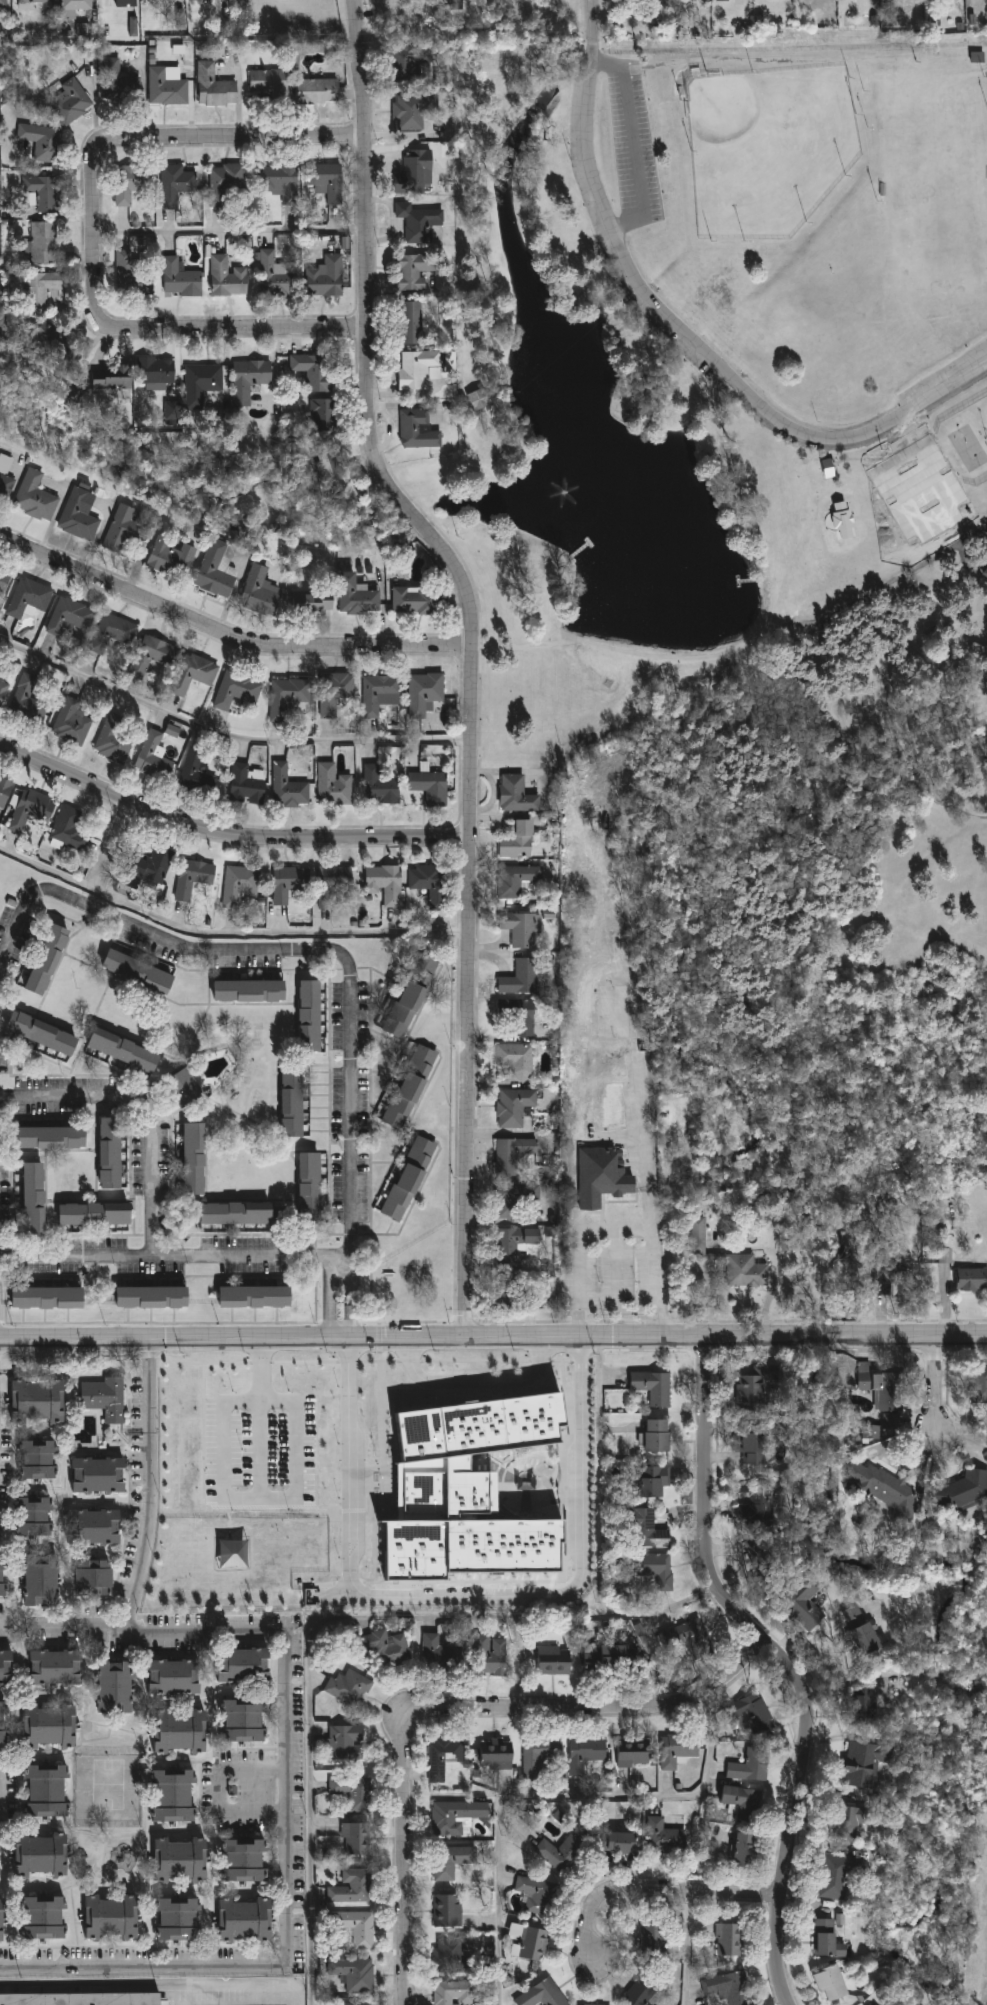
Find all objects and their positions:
building: (723, 0)
building: (34, 1)
building: (4, 3)
building: (127, 3)
building: (453, 4)
building: (77, 5)
building: (408, 61)
building: (112, 77)
building: (269, 82)
building: (213, 86)
building: (166, 87)
building: (316, 91)
building: (72, 100)
building: (408, 113)
building: (41, 140)
road: (635, 143)
park: (769, 147)
parking lot: (635, 148)
building: (417, 171)
building: (326, 179)
building: (281, 181)
park: (938, 182)
building: (175, 183)
building: (226, 184)
building: (135, 187)
building: (45, 191)
building: (416, 221)
parking lot: (600, 226)
road: (229, 230)
road: (92, 231)
building: (44, 242)
building: (130, 269)
building: (409, 270)
building: (276, 274)
building: (227, 276)
building: (326, 276)
building: (180, 279)
building: (41, 289)
building: (404, 321)
road: (684, 331)
building: (50, 343)
building: (407, 368)
building: (314, 369)
building: (155, 370)
building: (112, 375)
parking lot: (943, 375)
building: (249, 379)
building: (201, 382)
building: (475, 400)
building: (322, 411)
building: (414, 428)
park: (969, 449)
road: (868, 458)
parking lot: (926, 460)
building: (329, 467)
building: (827, 468)
building: (6, 476)
building: (37, 495)
building: (80, 514)
road: (955, 517)
building: (127, 527)
pier: (591, 542)
pier: (580, 550)
building: (173, 555)
building: (219, 567)
building: (985, 572)
building: (5, 579)
pier: (749, 580)
pier: (738, 581)
building: (261, 588)
building: (359, 594)
building: (30, 595)
building: (417, 599)
building: (315, 600)
building: (71, 615)
park: (751, 617)
building: (114, 631)
road: (757, 638)
road: (225, 641)
building: (154, 653)
road: (471, 654)
building: (194, 671)
building: (238, 688)
building: (3, 691)
building: (336, 691)
building: (382, 691)
building: (425, 691)
building: (32, 695)
building: (291, 695)
building: (75, 720)
building: (173, 730)
road: (227, 733)
building: (115, 738)
building: (155, 755)
building: (198, 771)
building: (248, 782)
building: (335, 784)
building: (382, 784)
building: (431, 784)
building: (290, 785)
building: (5, 789)
building: (514, 793)
building: (31, 815)
building: (71, 827)
road: (228, 838)
building: (515, 839)
road: (114, 844)
building: (153, 863)
road: (49, 868)
building: (193, 875)
building: (515, 878)
building: (288, 880)
building: (387, 881)
building: (430, 881)
building: (334, 883)
building: (240, 884)
building: (517, 926)
road: (278, 932)
road: (142, 937)
building: (48, 959)
building: (137, 970)
building: (518, 977)
building: (249, 990)
building: (410, 995)
building: (309, 1014)
building: (518, 1015)
building: (42, 1032)
building: (123, 1049)
building: (515, 1058)
building: (410, 1086)
building: (182, 1087)
road: (155, 1091)
building: (292, 1100)
building: (513, 1105)
building: (50, 1137)
road: (647, 1143)
building: (111, 1152)
building: (512, 1154)
building: (194, 1158)
building: (602, 1176)
building: (409, 1178)
building: (309, 1187)
building: (514, 1196)
building: (34, 1197)
building: (873, 1207)
building: (237, 1212)
building: (95, 1213)
road: (620, 1230)
building: (698, 1235)
building: (514, 1243)
road: (317, 1248)
building: (945, 1255)
building: (747, 1270)
building: (889, 1276)
building: (972, 1278)
road: (351, 1293)
building: (513, 1293)
building: (254, 1295)
building: (152, 1296)
building: (48, 1297)
road: (493, 1338)
road: (476, 1380)
road: (944, 1380)
building: (979, 1384)
road: (151, 1385)
building: (652, 1386)
building: (882, 1387)
building: (749, 1392)
building: (104, 1397)
building: (38, 1401)
building: (892, 1421)
building: (871, 1431)
building: (655, 1436)
road: (298, 1448)
building: (750, 1448)
building: (38, 1459)
building: (99, 1475)
building: (654, 1483)
building: (884, 1487)
building: (962, 1490)
building: (466, 1491)
building: (753, 1504)
building: (35, 1517)
building: (93, 1526)
building: (645, 1531)
road: (149, 1535)
building: (760, 1556)
building: (656, 1570)
building: (3, 1576)
building: (94, 1577)
building: (41, 1580)
road: (466, 1595)
building: (797, 1601)
building: (859, 1637)
building: (690, 1638)
building: (382, 1648)
building: (439, 1653)
building: (489, 1655)
building: (600, 1657)
road: (293, 1659)
building: (551, 1660)
road: (788, 1663)
building: (245, 1665)
building: (7, 1667)
building: (57, 1667)
building: (175, 1676)
building: (116, 1686)
building: (348, 1686)
building: (863, 1704)
road: (457, 1709)
building: (745, 1713)
road: (310, 1717)
building: (245, 1720)
building: (3, 1722)
building: (51, 1725)
building: (181, 1731)
building: (344, 1742)
building: (673, 1749)
building: (584, 1753)
building: (497, 1754)
building: (632, 1754)
building: (442, 1756)
building: (541, 1759)
building: (859, 1763)
building: (745, 1764)
road: (220, 1789)
building: (48, 1790)
building: (352, 1791)
building: (174, 1795)
building: (736, 1800)
road: (560, 1803)
building: (451, 1816)
building: (844, 1821)
building: (662, 1837)
building: (355, 1838)
building: (622, 1843)
building: (739, 1849)
building: (559, 1852)
building: (41, 1855)
building: (180, 1859)
building: (245, 1860)
building: (450, 1860)
building: (832, 1874)
building: (352, 1886)
building: (537, 1895)
road: (665, 1899)
building: (447, 1911)
building: (44, 1917)
building: (112, 1918)
building: (179, 1919)
building: (246, 1920)
building: (2, 1921)
building: (356, 1927)
building: (821, 1938)
building: (726, 1939)
building: (651, 1940)
building: (530, 1942)
road: (696, 1953)
building: (453, 1956)
road: (146, 1972)
building: (353, 1973)
building: (823, 1981)
road: (159, 1983)
building: (728, 1987)
building: (641, 1990)
building: (454, 1993)
building: (541, 1994)
building: (81, 1997)
building: (355, 2003)
building: (588, 2004)

